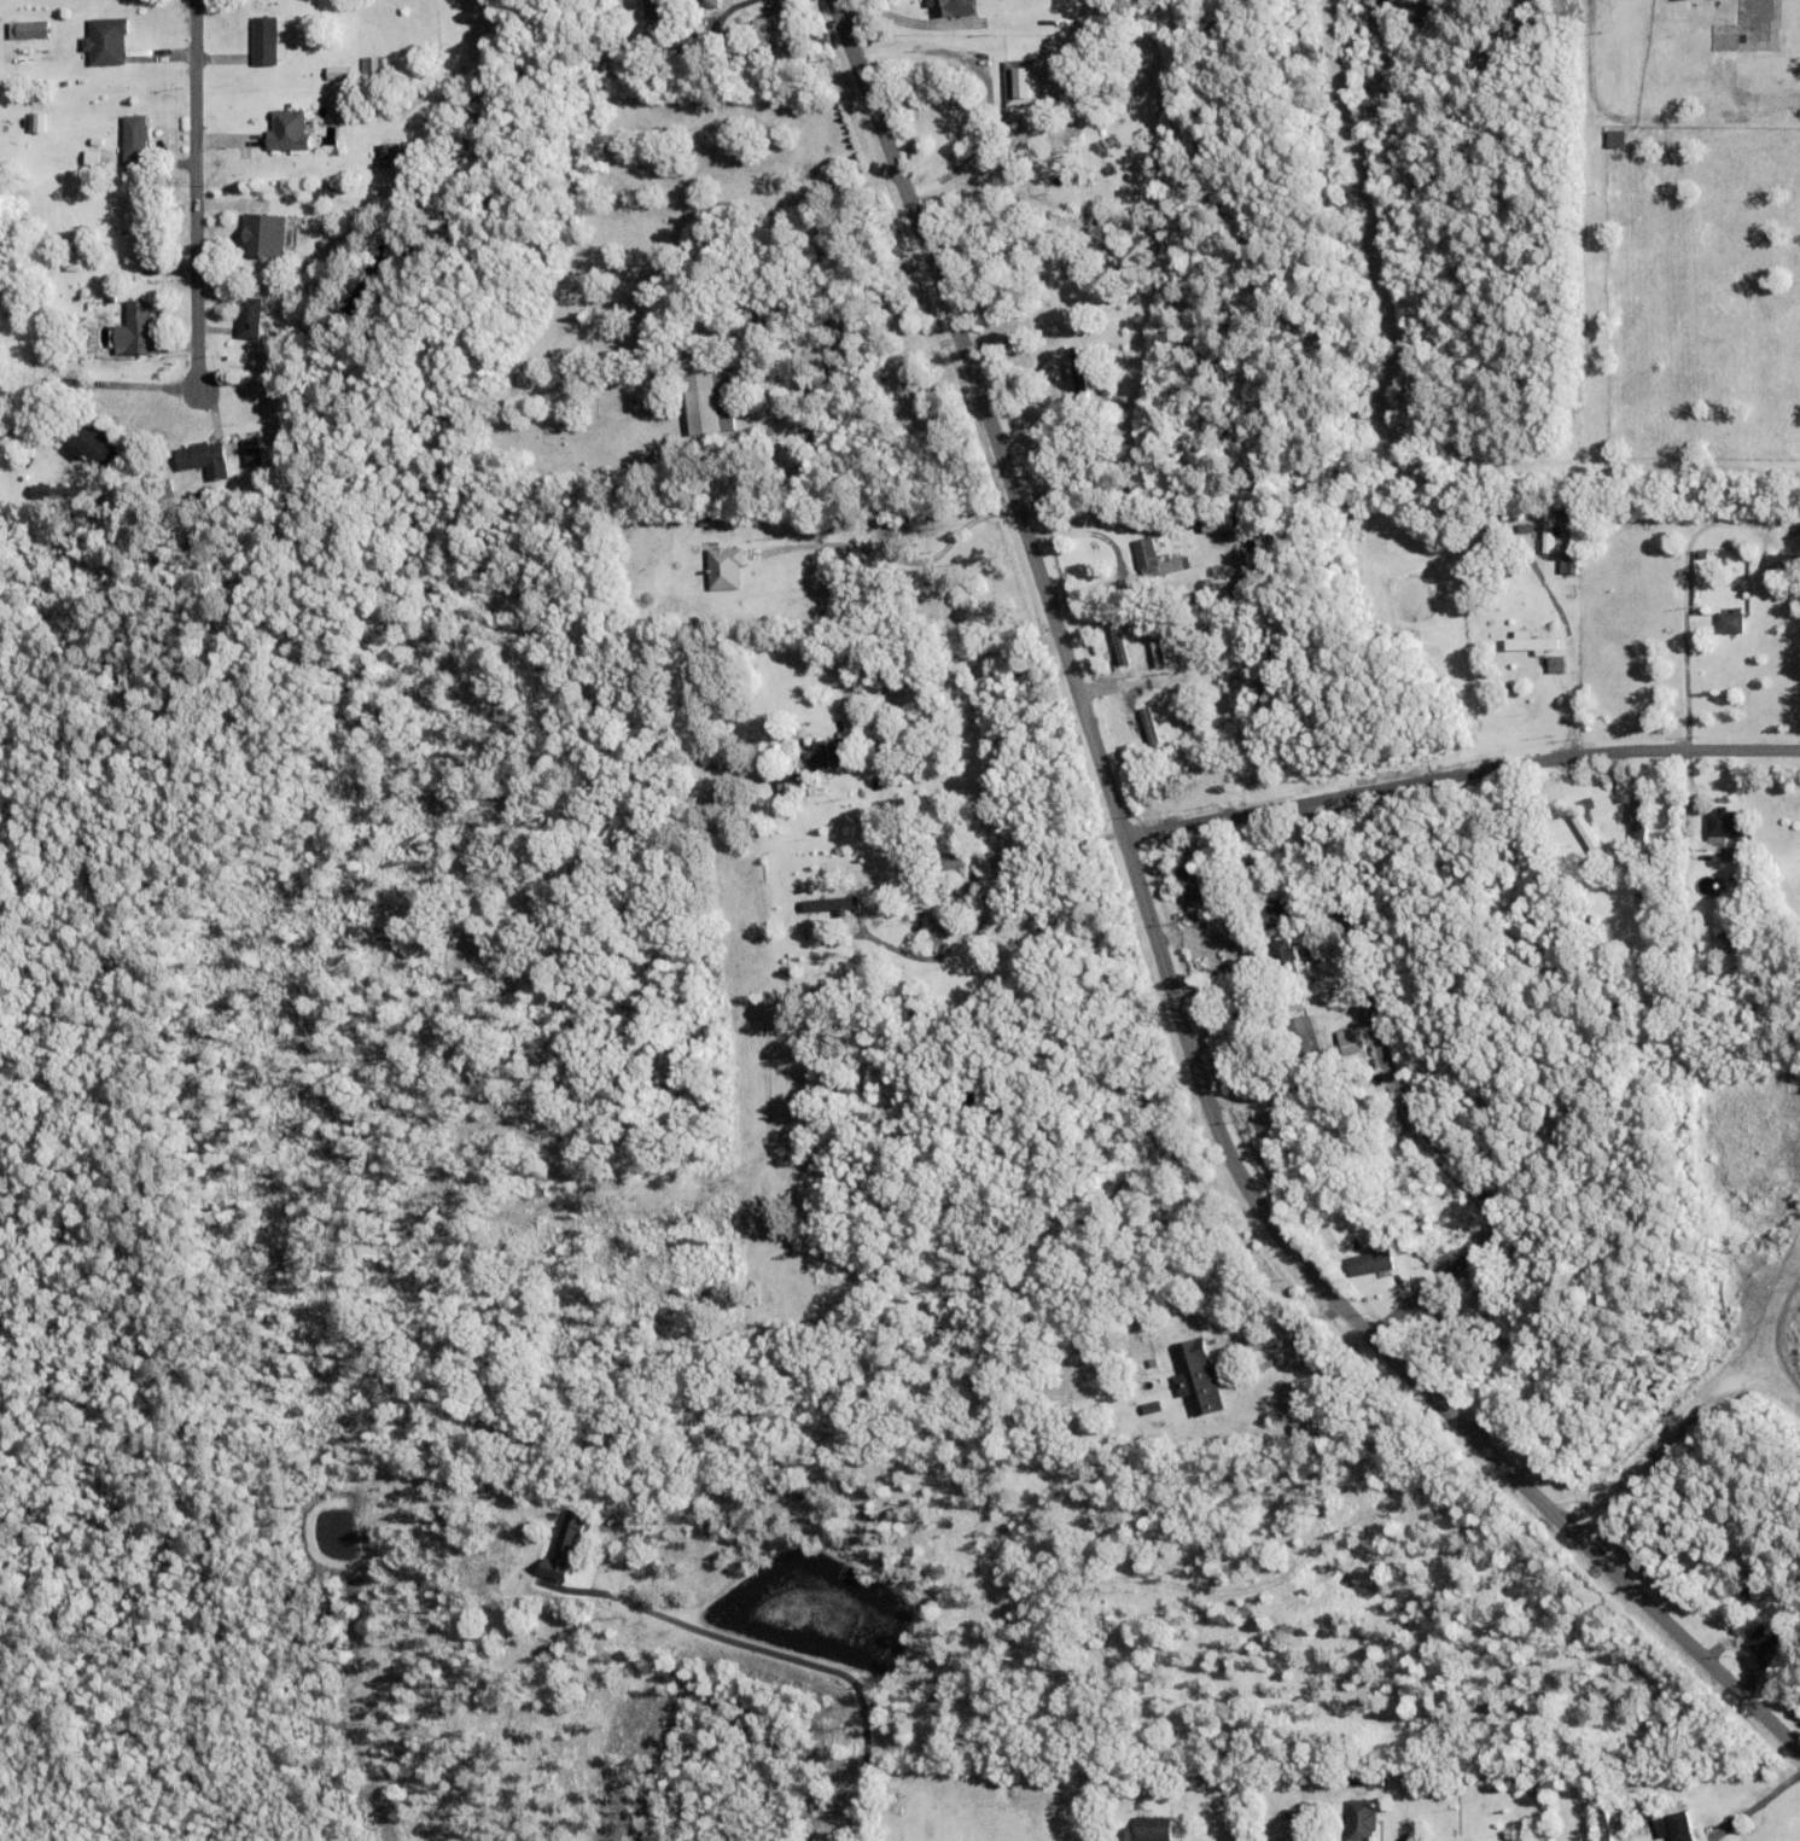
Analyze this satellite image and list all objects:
building: (707, 4)
building: (953, 7)
building: (652, 8)
building: (671, 8)
building: (30, 30)
building: (775, 33)
building: (107, 41)
building: (269, 41)
building: (677, 52)
building: (430, 66)
building: (373, 68)
building: (340, 74)
building: (1123, 80)
road: (983, 83)
building: (1023, 83)
building: (37, 122)
building: (290, 132)
building: (135, 140)
building: (97, 141)
building: (390, 156)
building: (1016, 159)
building: (326, 193)
road: (196, 204)
building: (267, 235)
building: (136, 237)
building: (75, 261)
building: (1043, 266)
building: (164, 267)
building: (771, 301)
building: (791, 317)
building: (250, 319)
building: (134, 332)
building: (1078, 365)
building: (1109, 385)
building: (703, 402)
building: (92, 447)
building: (251, 450)
building: (790, 459)
building: (205, 460)
building: (163, 490)
building: (59, 495)
building: (200, 501)
building: (785, 515)
building: (1486, 518)
building: (704, 522)
building: (1567, 524)
building: (1550, 536)
building: (1793, 548)
building: (1153, 560)
building: (1567, 561)
building: (1784, 566)
building: (726, 569)
building: (1572, 594)
building: (1572, 611)
building: (1732, 623)
building: (1119, 642)
building: (1531, 643)
building: (1157, 645)
road: (1568, 659)
building: (1556, 665)
road: (959, 666)
building: (943, 710)
building: (1193, 723)
building: (1149, 728)
building: (829, 756)
road: (1460, 775)
building: (1167, 780)
building: (788, 785)
building: (1588, 809)
building: (1643, 818)
building: (1722, 831)
building: (1588, 835)
building: (1726, 852)
building: (1647, 860)
building: (946, 863)
building: (1254, 872)
building: (919, 876)
building: (1572, 879)
building: (1188, 882)
building: (1649, 890)
road: (997, 899)
building: (815, 903)
building: (1311, 910)
building: (1274, 916)
building: (1586, 927)
building: (1300, 937)
building: (934, 938)
building: (1726, 950)
building: (1285, 955)
road: (1165, 967)
building: (1262, 1006)
building: (1295, 1010)
building: (1242, 1023)
building: (1305, 1039)
building: (1272, 1045)
building: (1350, 1048)
road: (1410, 1103)
building: (1335, 1112)
building: (1326, 1125)
building: (1353, 1210)
building: (1419, 1229)
building: (1373, 1266)
building: (1457, 1328)
road: (1281, 1341)
building: (1154, 1365)
building: (1198, 1380)
building: (1496, 1386)
building: (1154, 1414)
building: (1744, 1579)
building: (1764, 1647)
building: (1365, 1778)
building: (1001, 1806)
building: (896, 1808)
building: (1324, 1810)
building: (1361, 1819)
building: (1666, 1820)
building: (1603, 1824)
building: (1679, 1827)
building: (1148, 1829)

